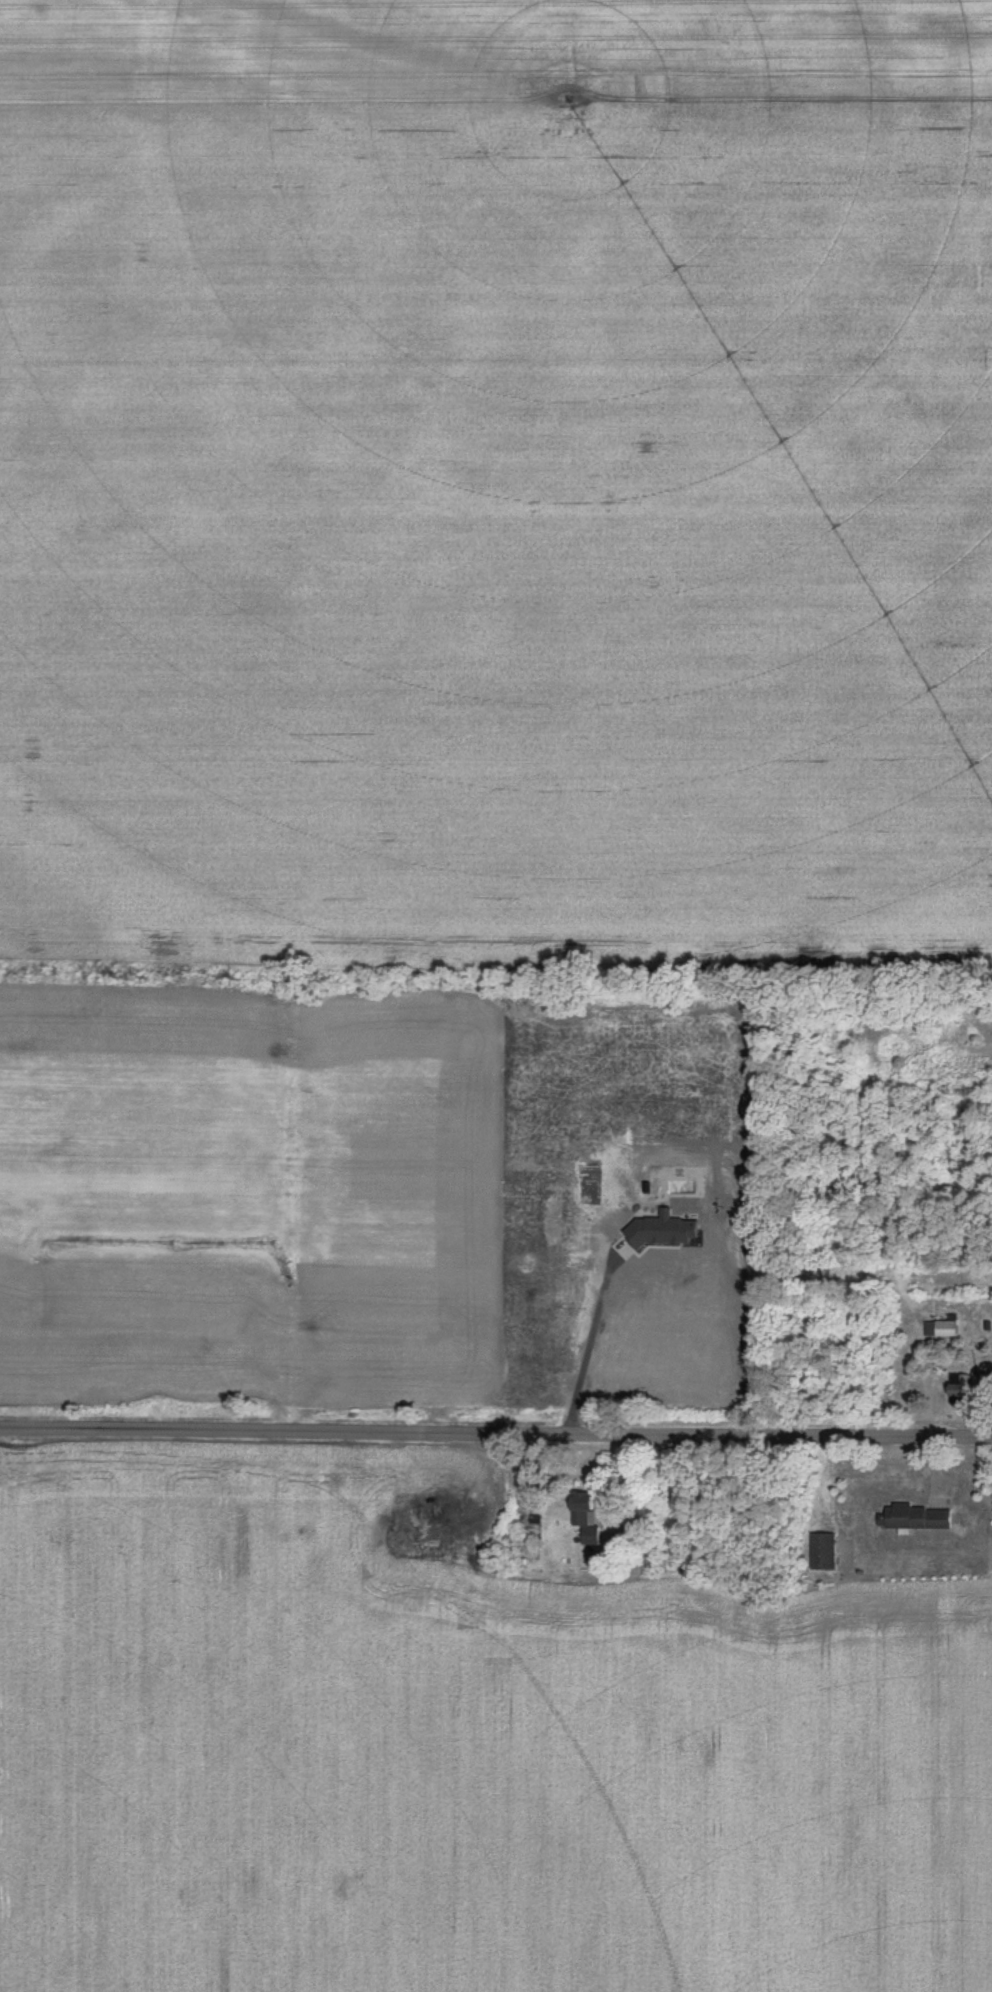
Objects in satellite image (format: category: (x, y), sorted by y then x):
road: (495, 1428)

